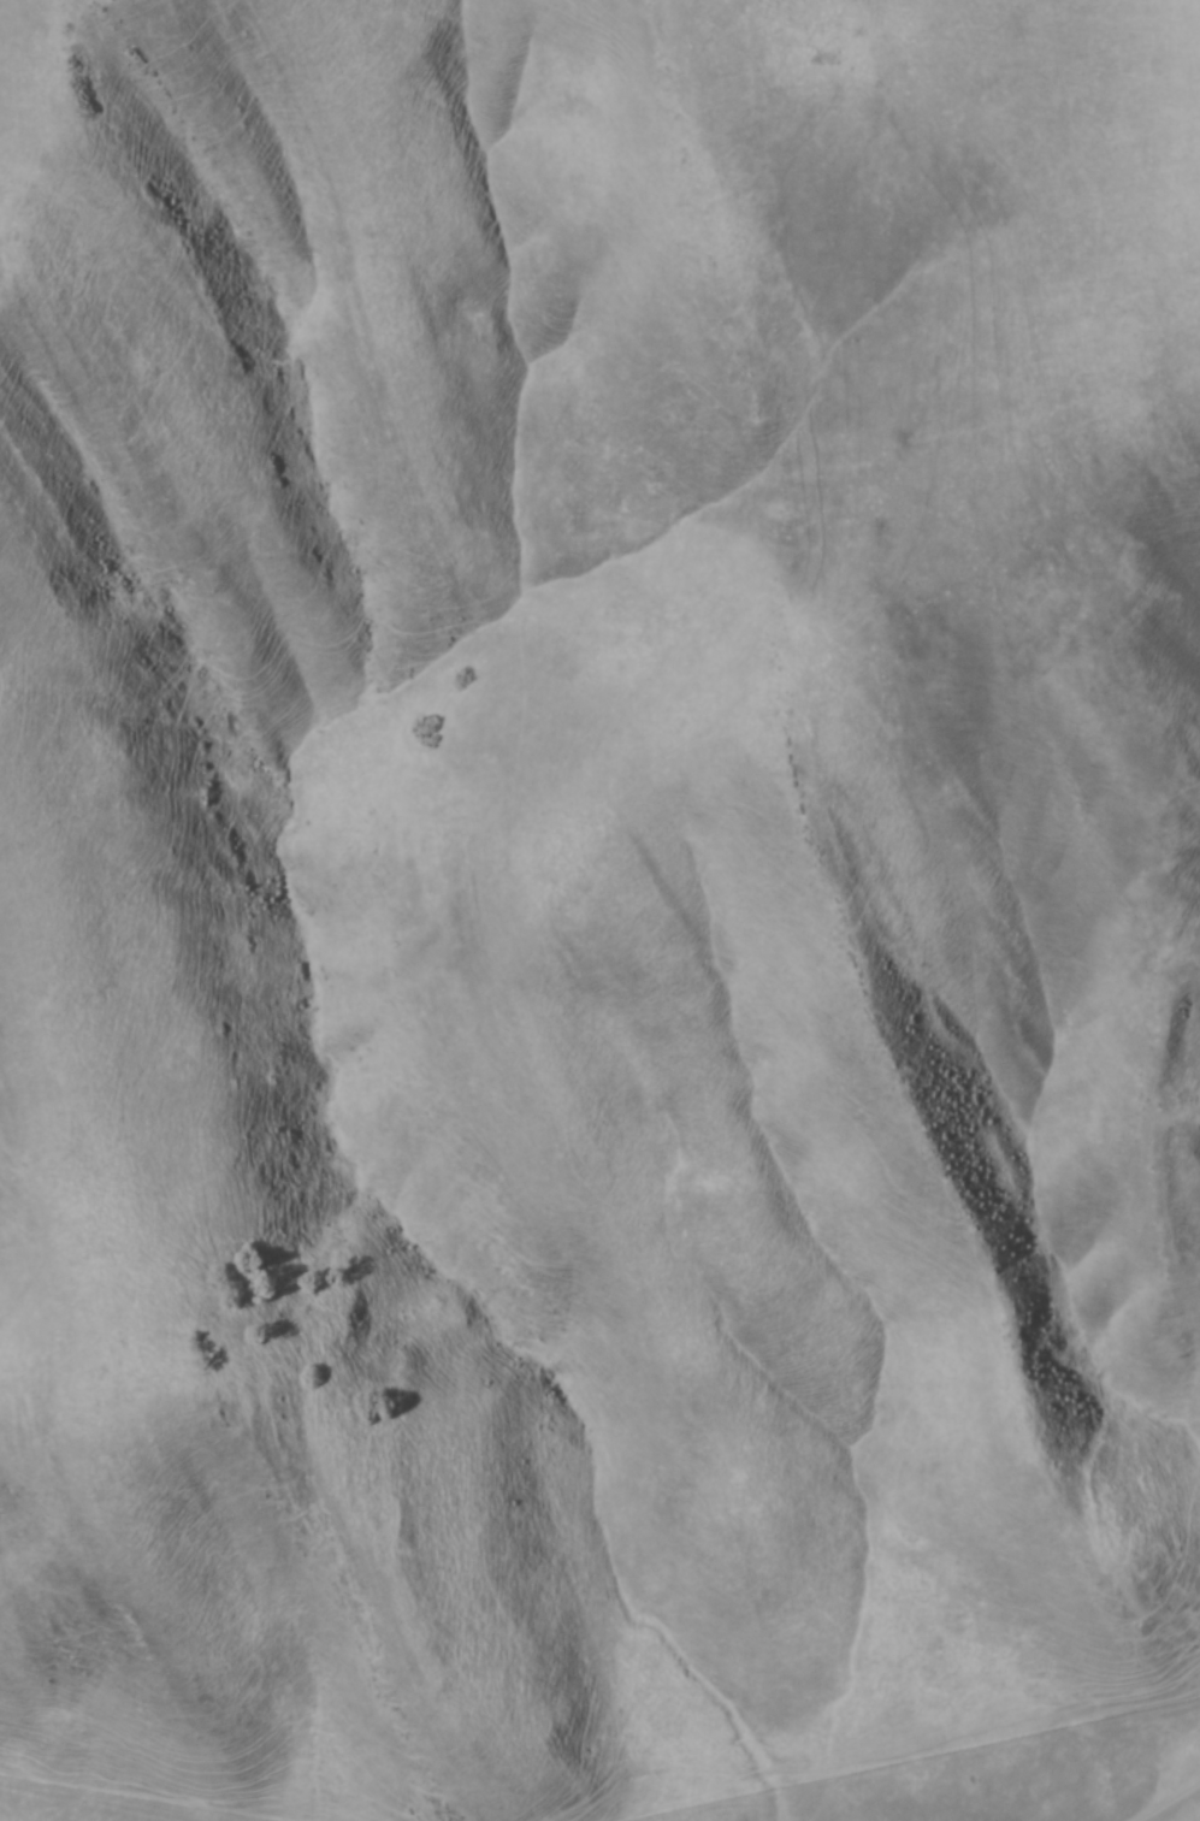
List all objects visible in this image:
road: (599, 1566)

